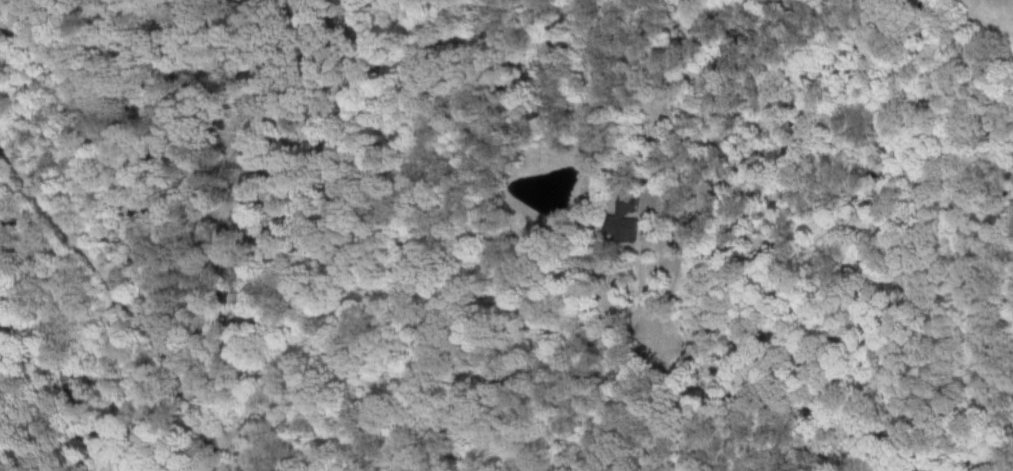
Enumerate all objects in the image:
building: (621, 217)
road: (131, 233)

